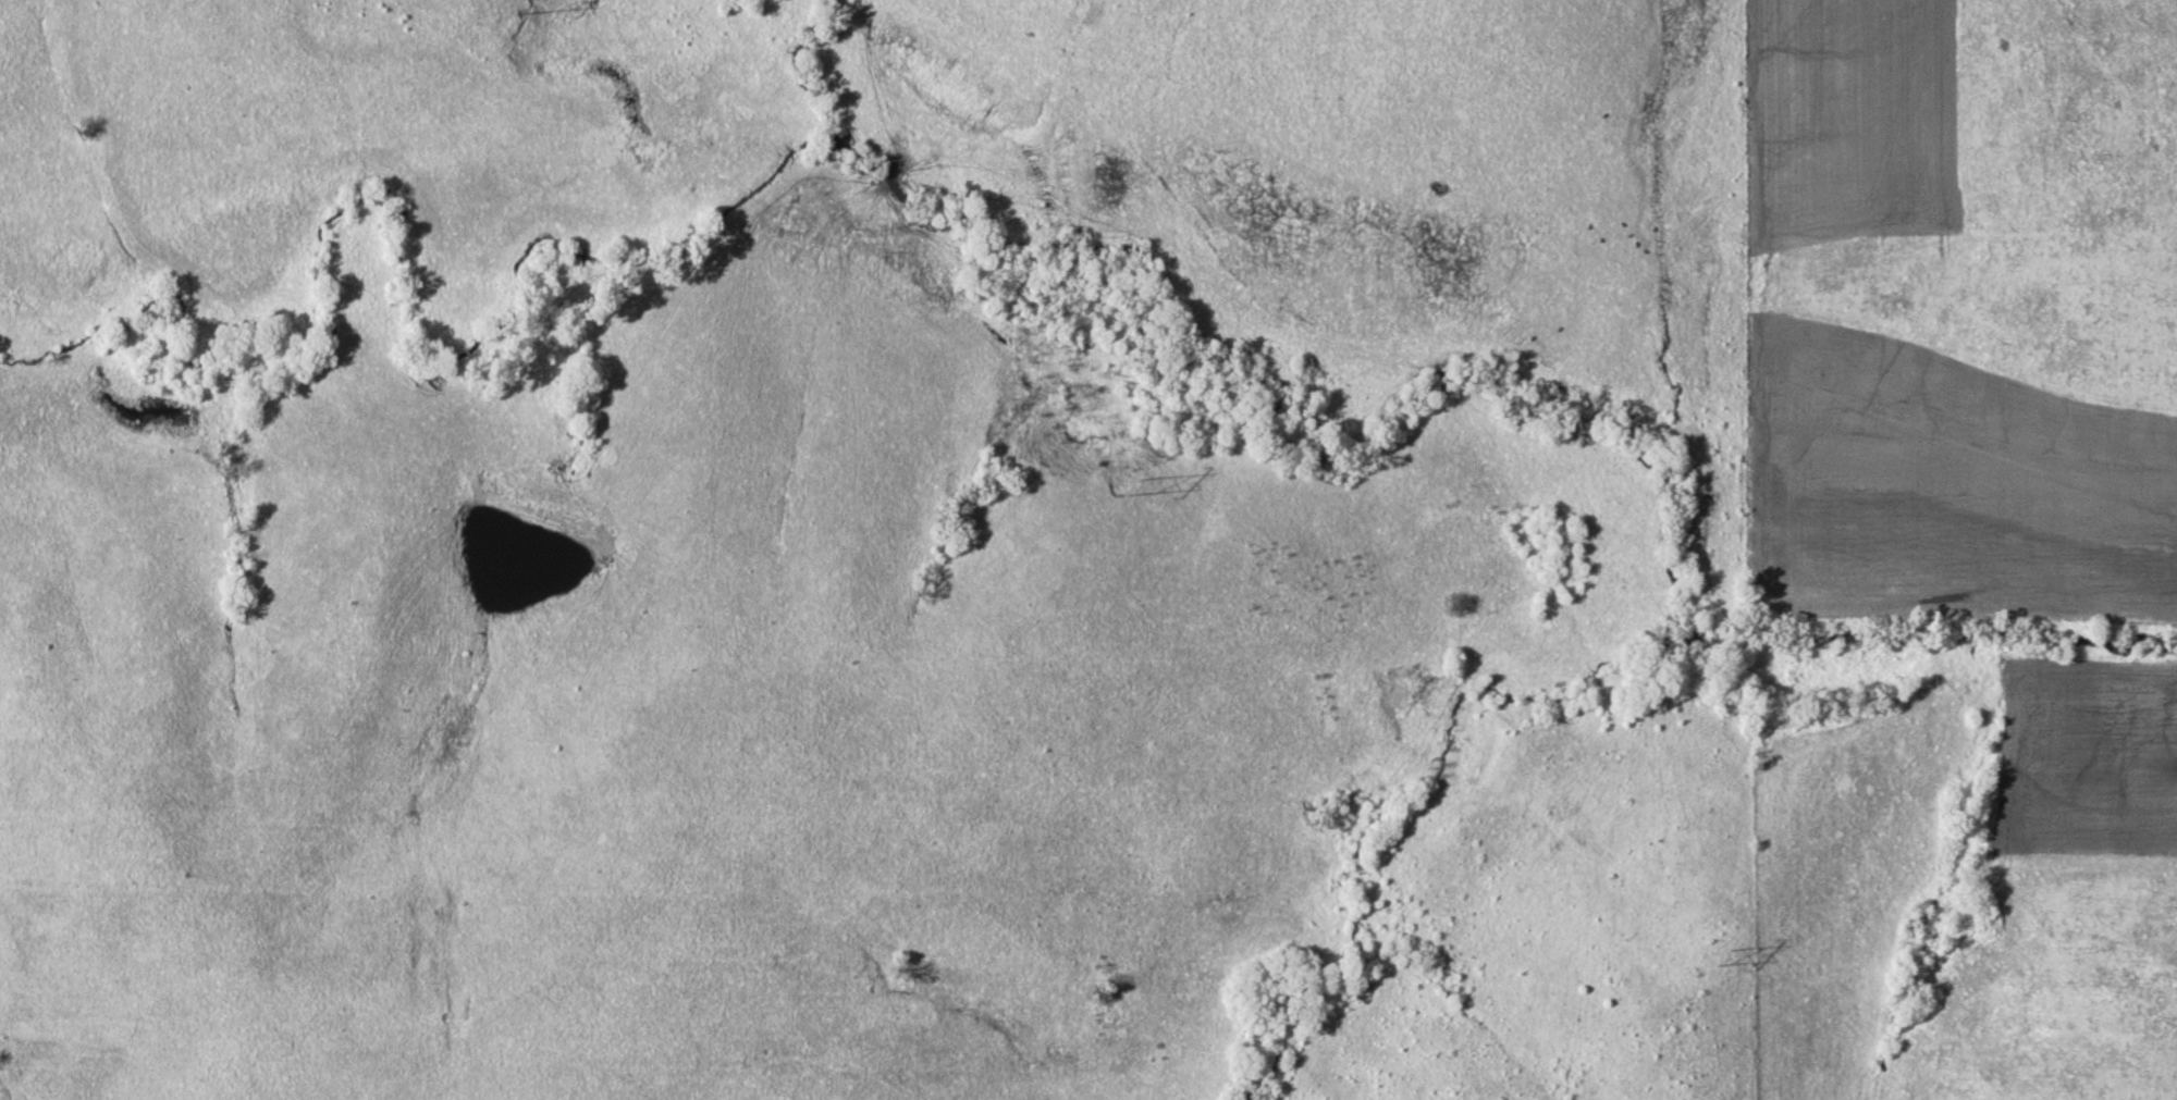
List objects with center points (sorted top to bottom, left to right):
power tower: (524, 17)
power tower: (1093, 473)
power tower: (1726, 967)

